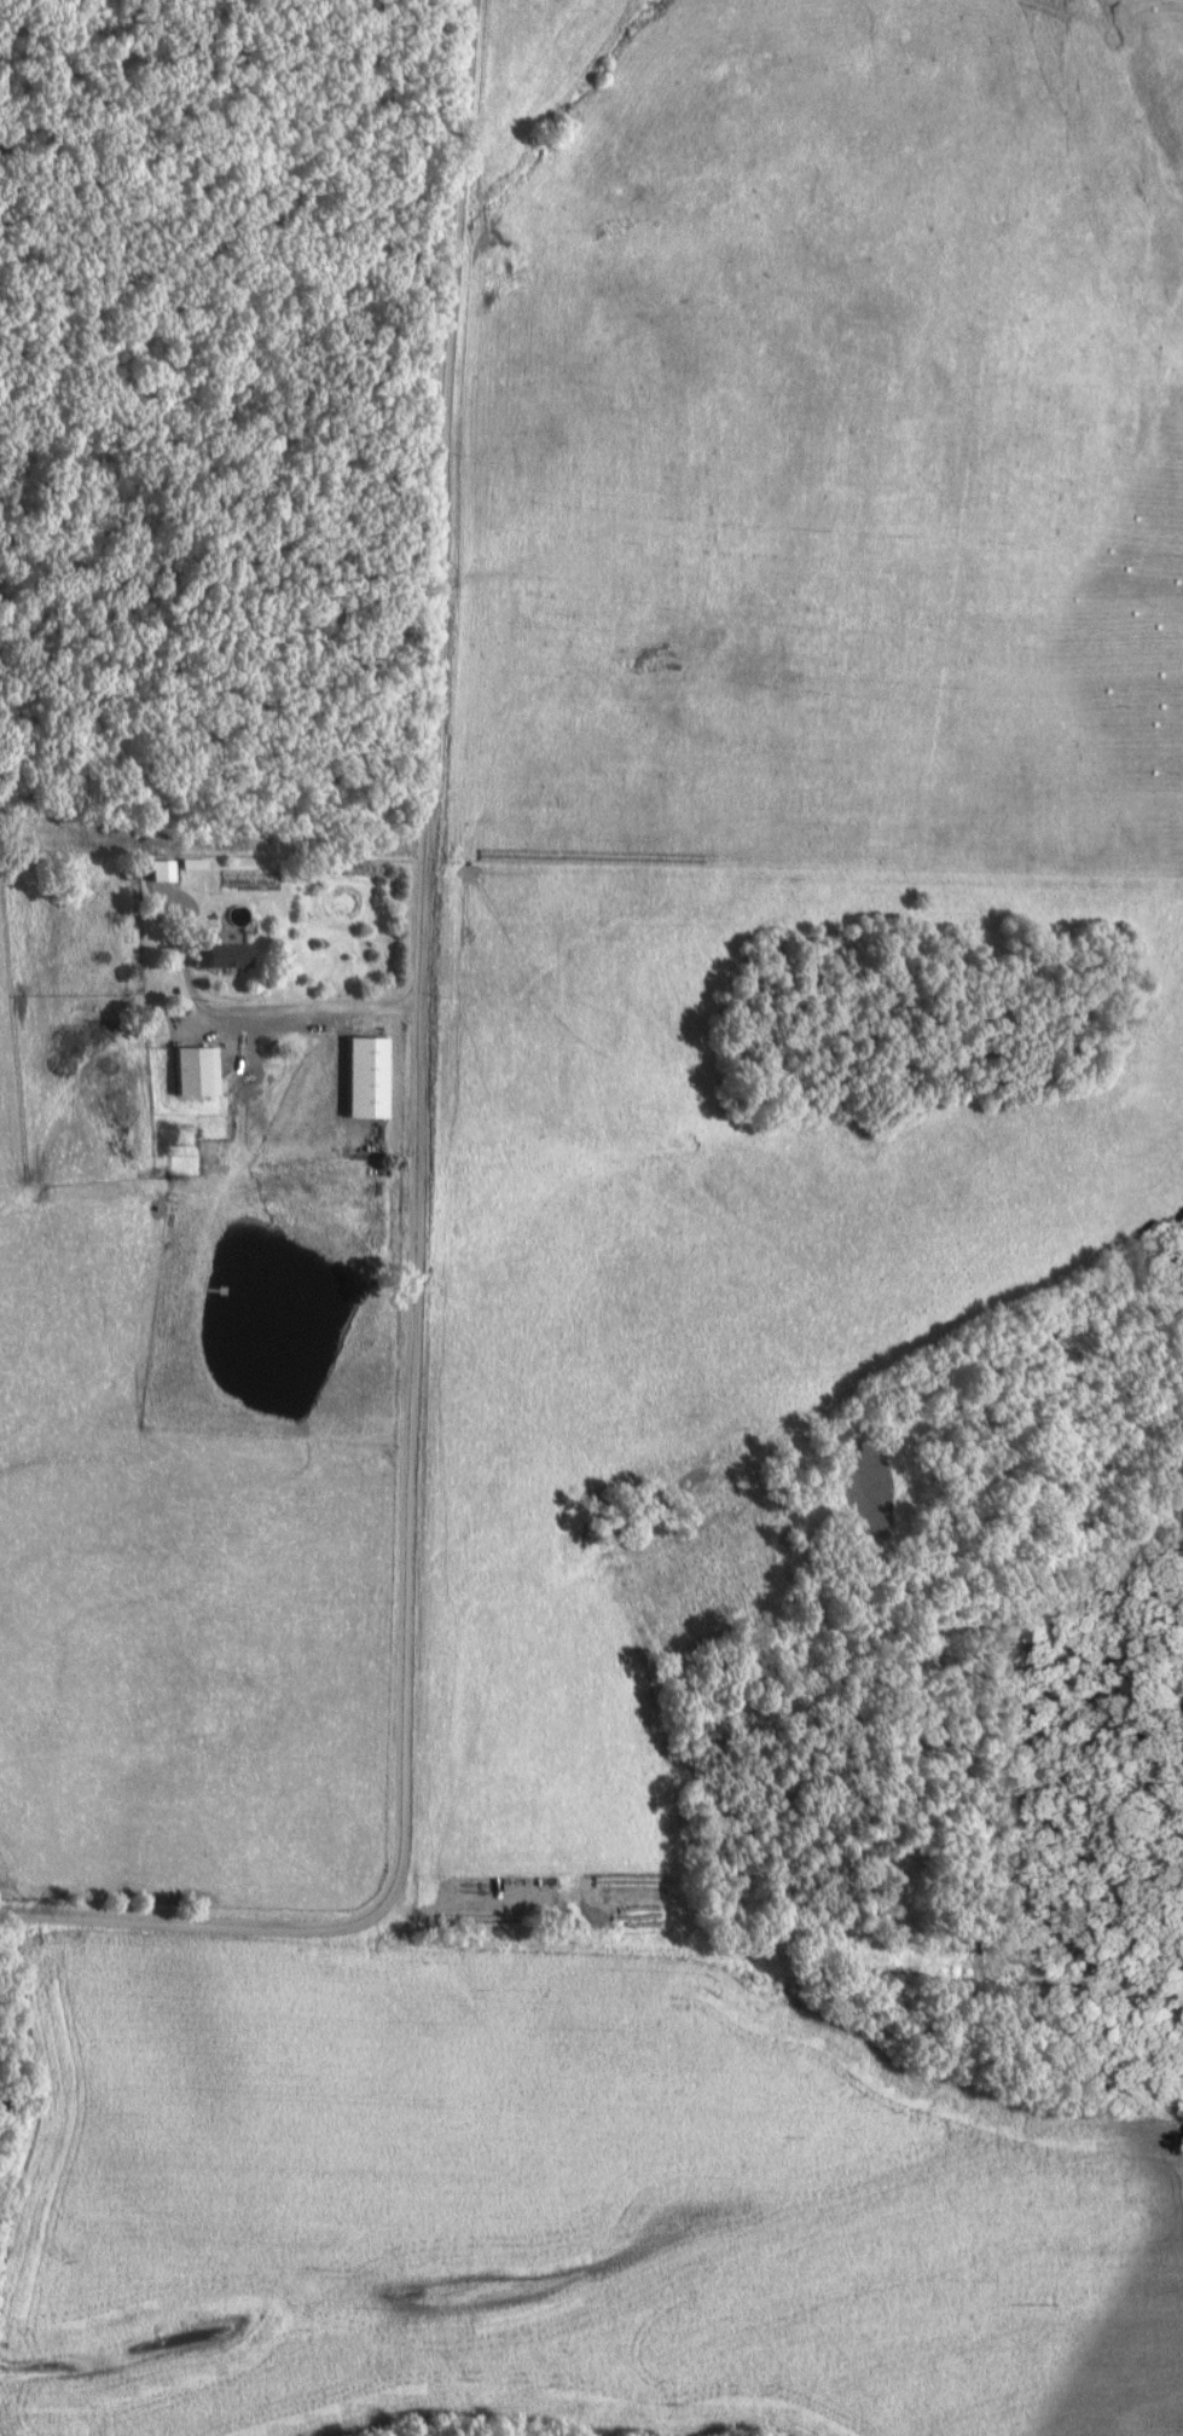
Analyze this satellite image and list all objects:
building: (196, 863)
building: (164, 869)
building: (231, 953)
road: (290, 1006)
building: (201, 1069)
building: (371, 1075)
road: (416, 1146)

